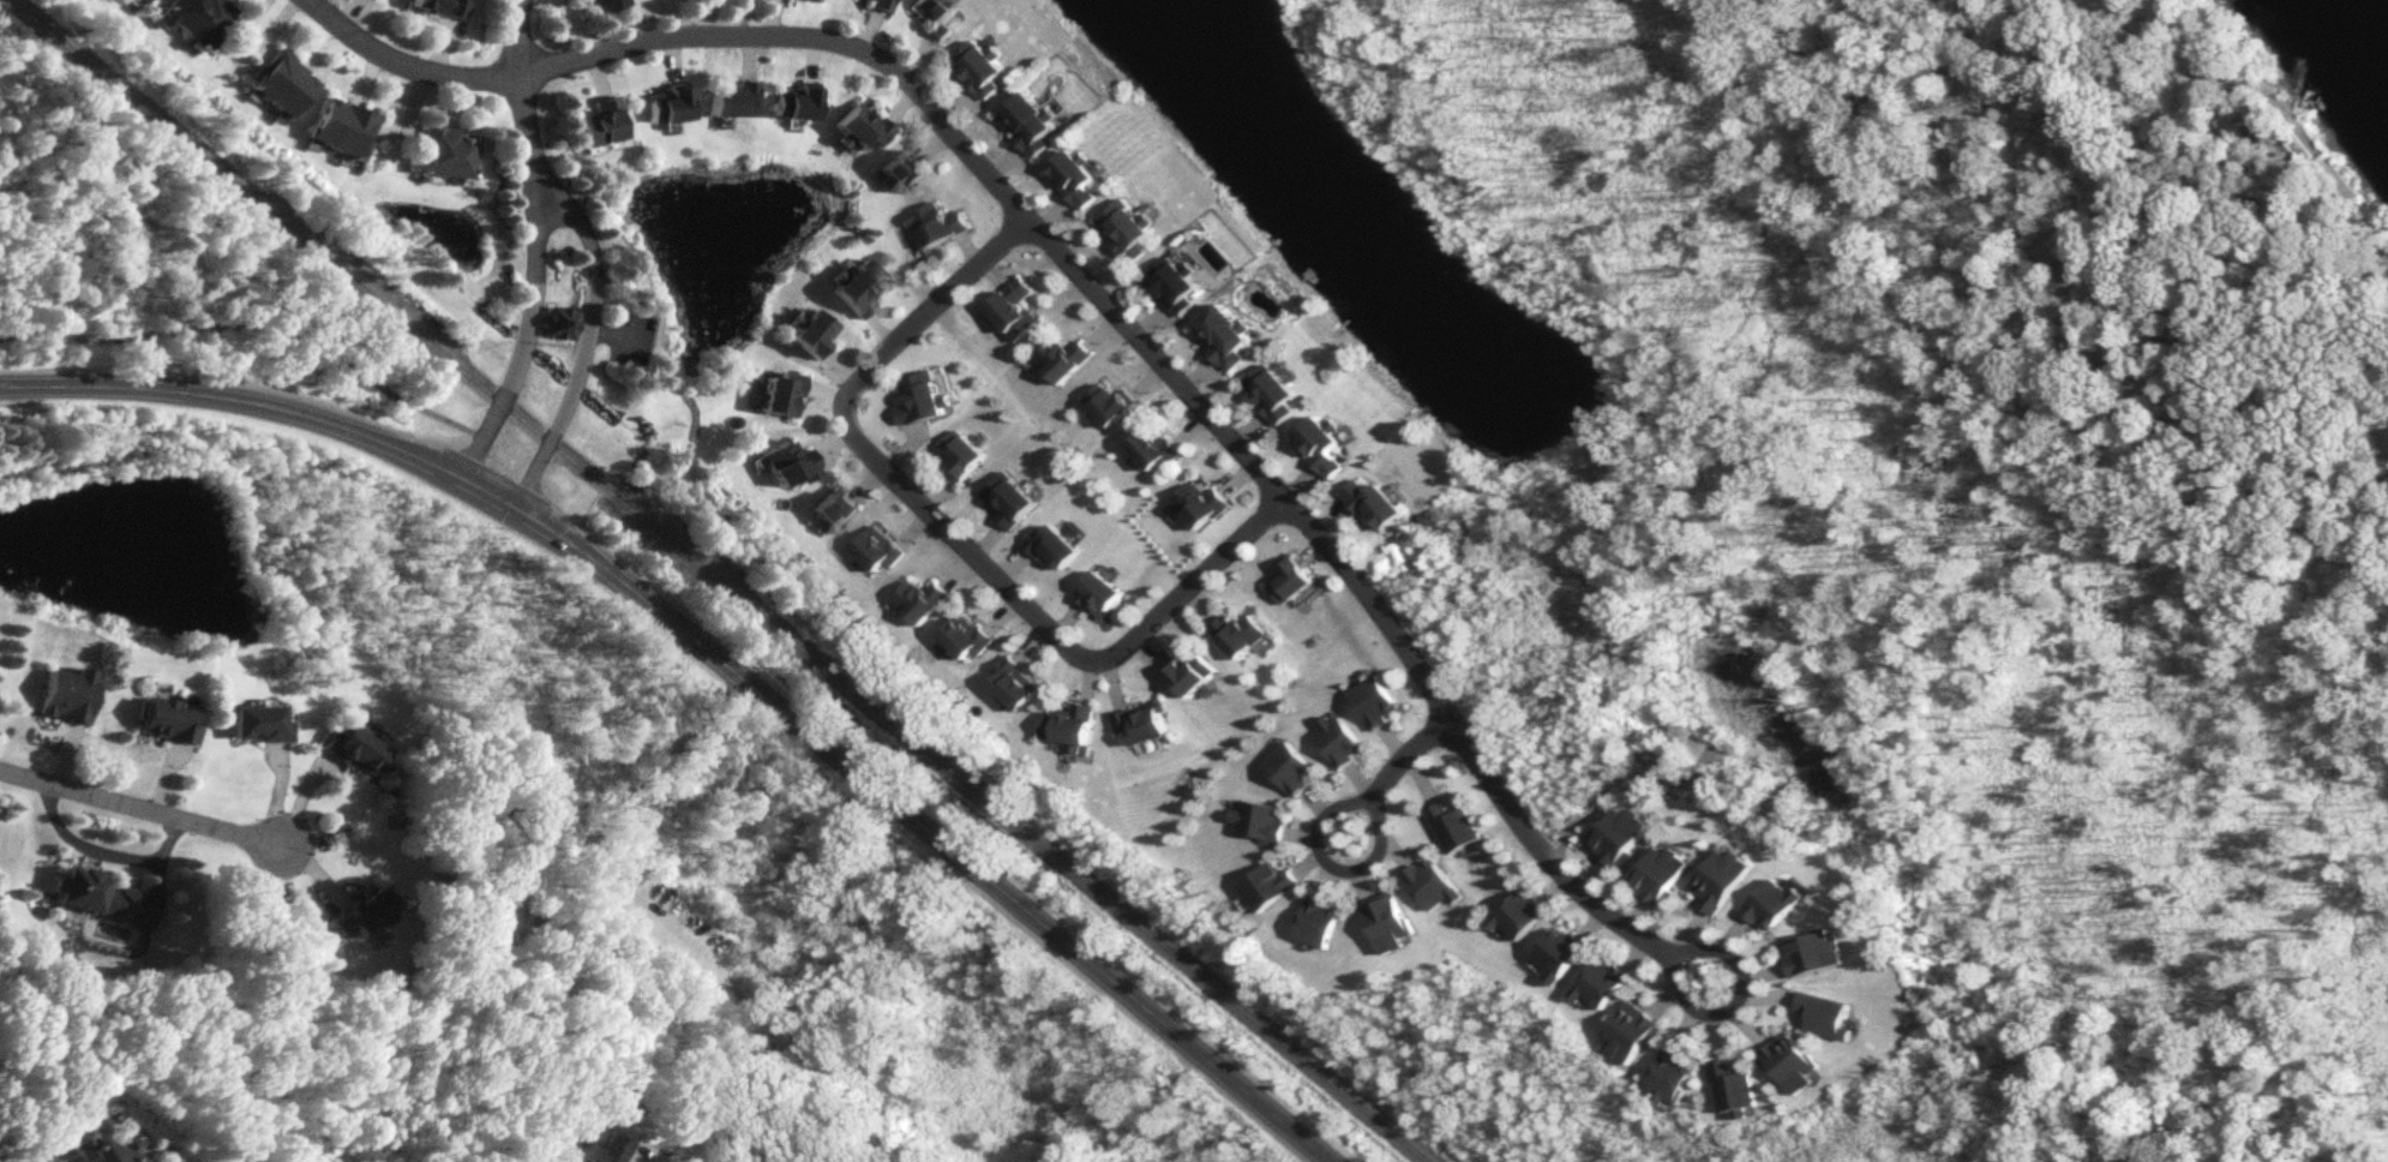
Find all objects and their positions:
building: (142, 0)
river: (2387, 0)
building: (877, 2)
building: (602, 4)
building: (440, 6)
road: (739, 16)
building: (196, 17)
building: (936, 17)
road: (632, 19)
road: (403, 60)
building: (985, 67)
building: (282, 80)
road: (515, 86)
building: (731, 98)
building: (794, 102)
building: (667, 103)
road: (2290, 119)
building: (599, 121)
building: (1034, 124)
building: (343, 126)
building: (858, 126)
building: (445, 151)
park: (1879, 163)
building: (901, 169)
building: (1079, 178)
building: (940, 223)
building: (1129, 229)
park: (161, 258)
building: (1181, 286)
building: (858, 287)
building: (1016, 310)
building: (560, 323)
road: (254, 328)
road: (526, 331)
building: (811, 331)
building: (1230, 335)
road: (586, 337)
building: (1066, 358)
building: (1278, 391)
building: (780, 394)
building: (923, 397)
building: (1114, 402)
building: (1325, 443)
building: (1158, 448)
road: (1240, 448)
building: (965, 454)
building: (787, 463)
building: (1010, 498)
building: (1199, 504)
building: (1381, 504)
building: (834, 508)
road: (954, 533)
building: (1057, 546)
building: (880, 547)
railway: (719, 580)
building: (1295, 580)
building: (1103, 593)
building: (922, 599)
building: (1243, 633)
building: (968, 636)
park: (2137, 643)
road: (718, 659)
building: (1195, 672)
building: (1016, 683)
building: (67, 695)
building: (1378, 701)
building: (167, 720)
building: (258, 723)
building: (1146, 723)
building: (1072, 725)
building: (1340, 739)
building: (352, 749)
building: (1294, 768)
road: (622, 803)
road: (138, 804)
road: (1325, 816)
building: (1261, 820)
building: (1457, 825)
building: (1622, 834)
road: (103, 850)
building: (1662, 873)
building: (1724, 878)
building: (1435, 884)
building: (1271, 885)
building: (94, 893)
building: (1778, 904)
building: (365, 910)
building: (1522, 914)
building: (1320, 922)
building: (1390, 922)
road: (679, 927)
building: (1818, 952)
building: (1562, 953)
building: (1603, 983)
building: (1830, 1016)
road: (655, 1026)
building: (1633, 1032)
building: (1795, 1064)
building: (1673, 1078)
building: (1736, 1086)
building: (91, 1148)
building: (593, 1150)

